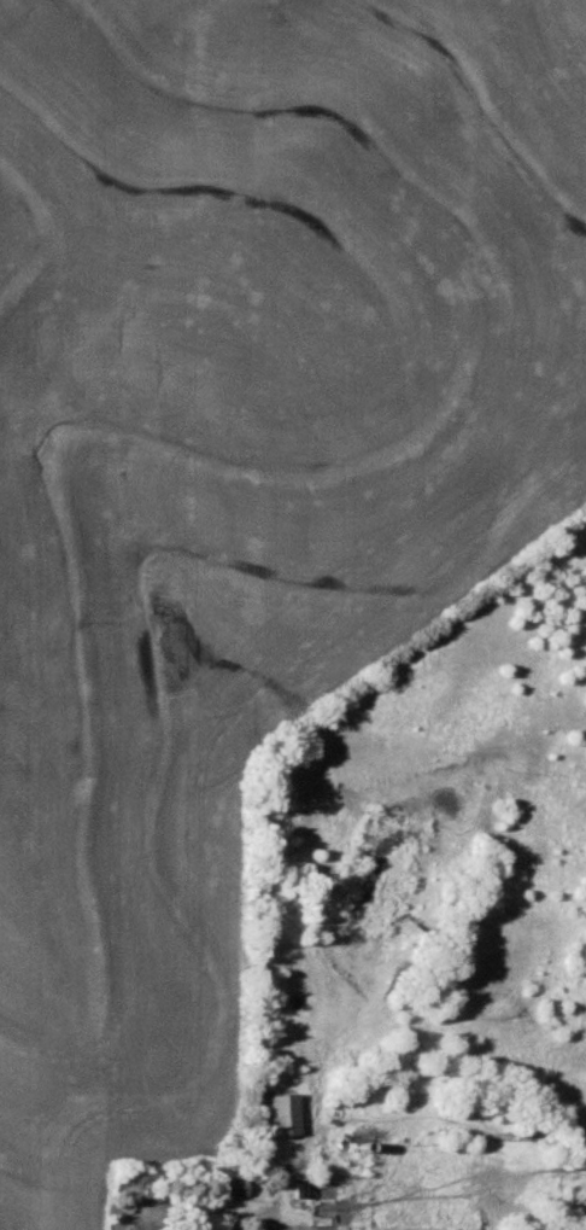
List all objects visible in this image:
building: (280, 1115)
building: (233, 1188)
building: (298, 1190)
road: (265, 1222)

